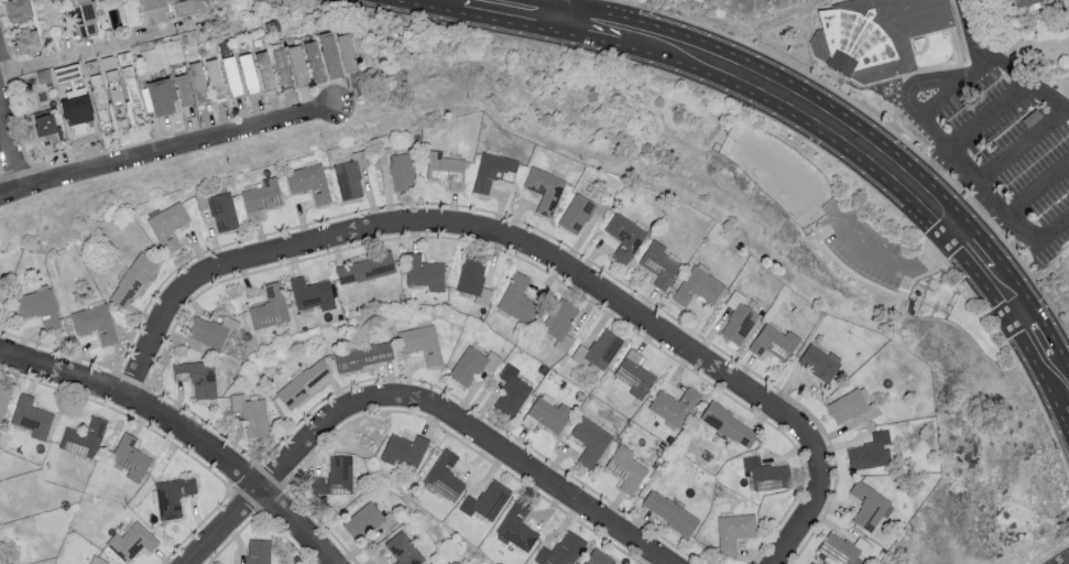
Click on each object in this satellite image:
road: (570, 2)
building: (1018, 2)
building: (1065, 2)
building: (188, 6)
road: (426, 7)
building: (15, 9)
building: (151, 11)
building: (84, 18)
road: (567, 19)
road: (512, 22)
building: (875, 35)
building: (24, 39)
road: (610, 42)
road: (97, 51)
building: (345, 51)
building: (328, 54)
building: (313, 59)
road: (1003, 62)
building: (296, 64)
building: (280, 67)
building: (263, 69)
building: (247, 72)
road: (773, 73)
building: (230, 75)
building: (214, 78)
building: (197, 80)
building: (183, 89)
building: (161, 96)
road: (938, 96)
building: (134, 98)
road: (907, 99)
building: (76, 121)
building: (44, 127)
road: (814, 128)
road: (964, 135)
road: (1024, 142)
road: (168, 150)
road: (9, 153)
building: (397, 167)
building: (445, 167)
building: (493, 171)
building: (349, 175)
road: (1037, 181)
building: (308, 182)
building: (544, 188)
road: (992, 194)
building: (260, 197)
building: (222, 211)
building: (576, 214)
road: (992, 220)
building: (167, 225)
road: (827, 226)
road: (974, 228)
road: (472, 230)
road: (958, 231)
building: (624, 237)
road: (1035, 238)
road: (990, 246)
parking lot: (864, 247)
road: (885, 262)
building: (658, 263)
building: (364, 268)
building: (424, 272)
building: (472, 279)
building: (131, 280)
road: (979, 280)
road: (902, 282)
road: (1015, 283)
road: (877, 285)
building: (697, 286)
building: (312, 293)
road: (910, 295)
building: (516, 297)
building: (39, 306)
building: (270, 307)
road: (1018, 314)
building: (95, 322)
building: (560, 323)
building: (738, 323)
road: (1044, 328)
building: (208, 332)
building: (773, 341)
building: (422, 343)
road: (1021, 344)
building: (601, 349)
building: (362, 355)
road: (1062, 360)
building: (819, 361)
building: (471, 365)
building: (633, 373)
building: (198, 379)
building: (303, 384)
road: (1055, 384)
building: (511, 390)
building: (3, 397)
road: (1052, 398)
building: (674, 405)
building: (852, 405)
building: (548, 411)
building: (251, 414)
building: (31, 416)
building: (728, 424)
road: (462, 426)
road: (183, 432)
building: (83, 437)
building: (590, 440)
building: (403, 449)
building: (868, 452)
building: (130, 457)
building: (624, 468)
building: (765, 473)
building: (444, 476)
building: (335, 477)
building: (172, 496)
building: (486, 500)
building: (868, 506)
building: (668, 511)
road: (805, 516)
building: (362, 519)
building: (517, 525)
road: (228, 528)
building: (733, 531)
building: (131, 541)
building: (403, 549)
building: (563, 549)
building: (840, 549)
building: (258, 551)
building: (597, 558)
building: (97, 560)
building: (810, 563)
road: (1068, 563)

